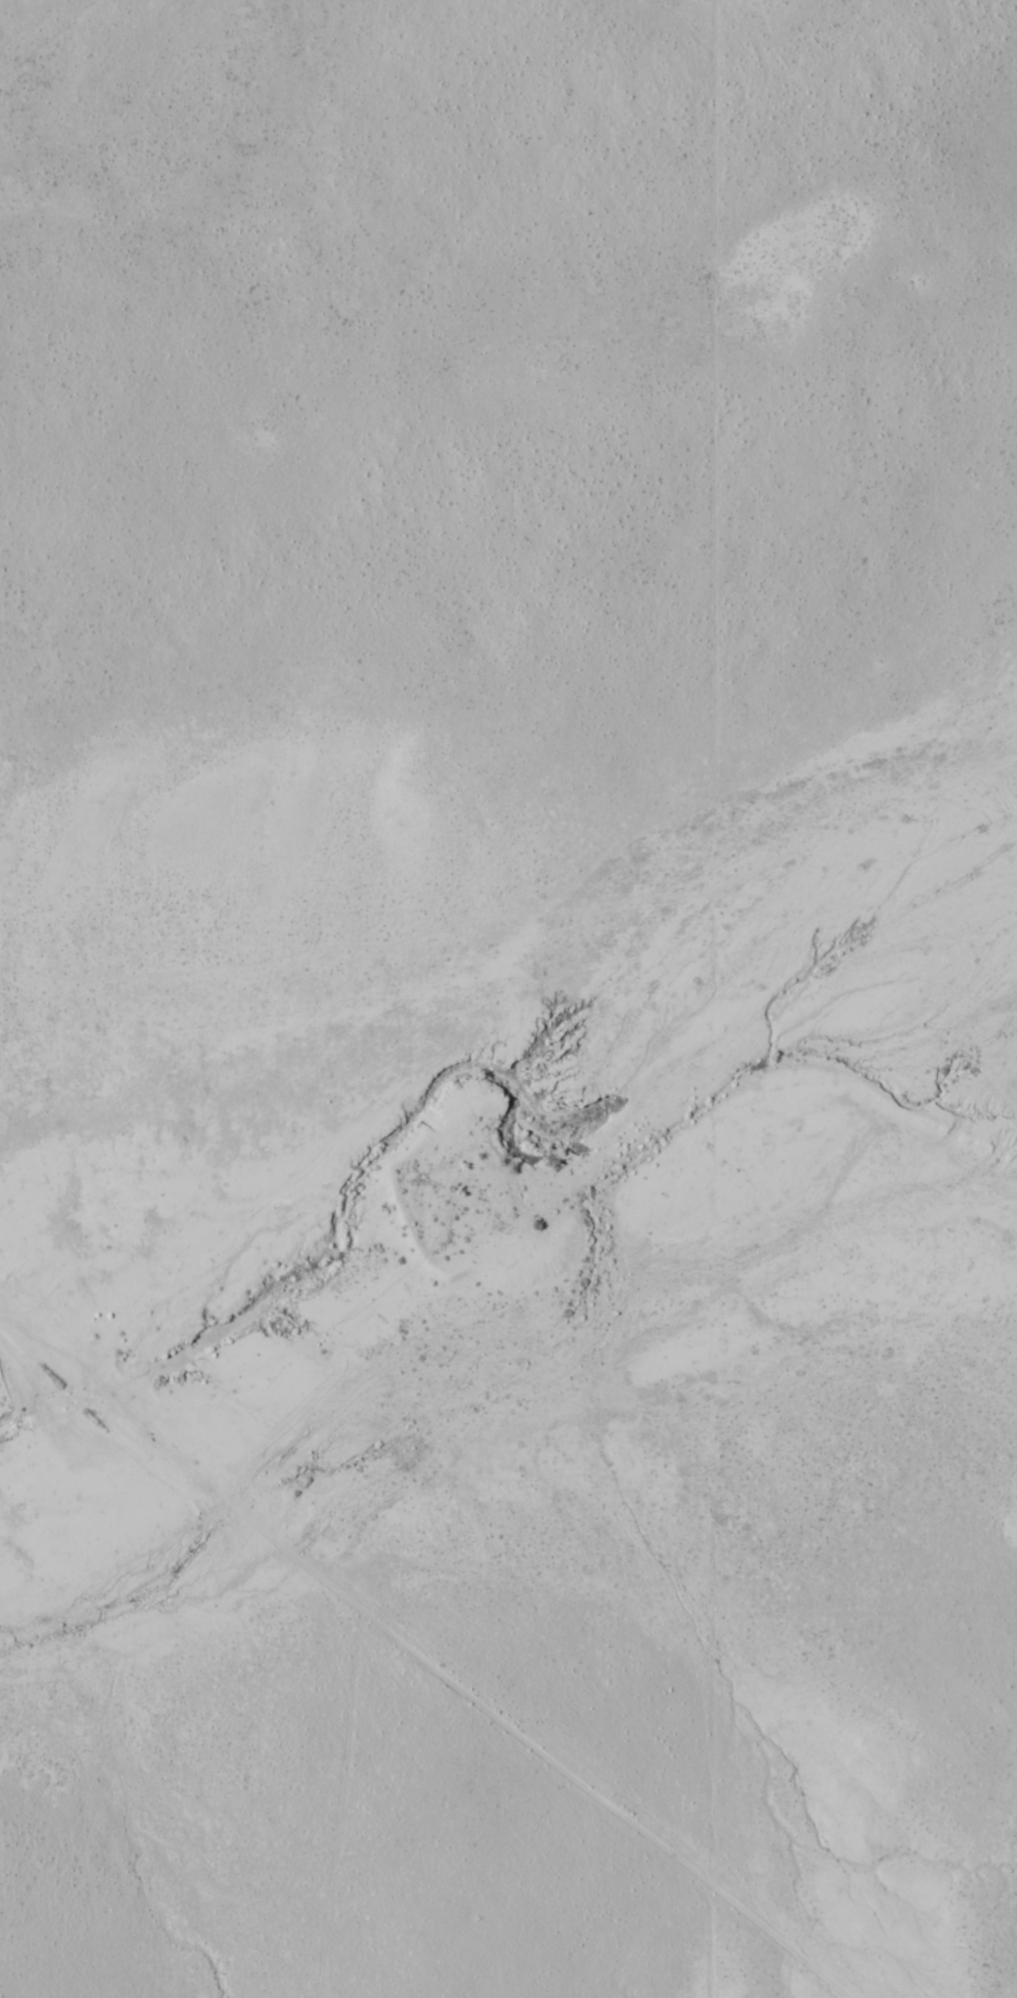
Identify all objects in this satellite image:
road: (450, 958)

